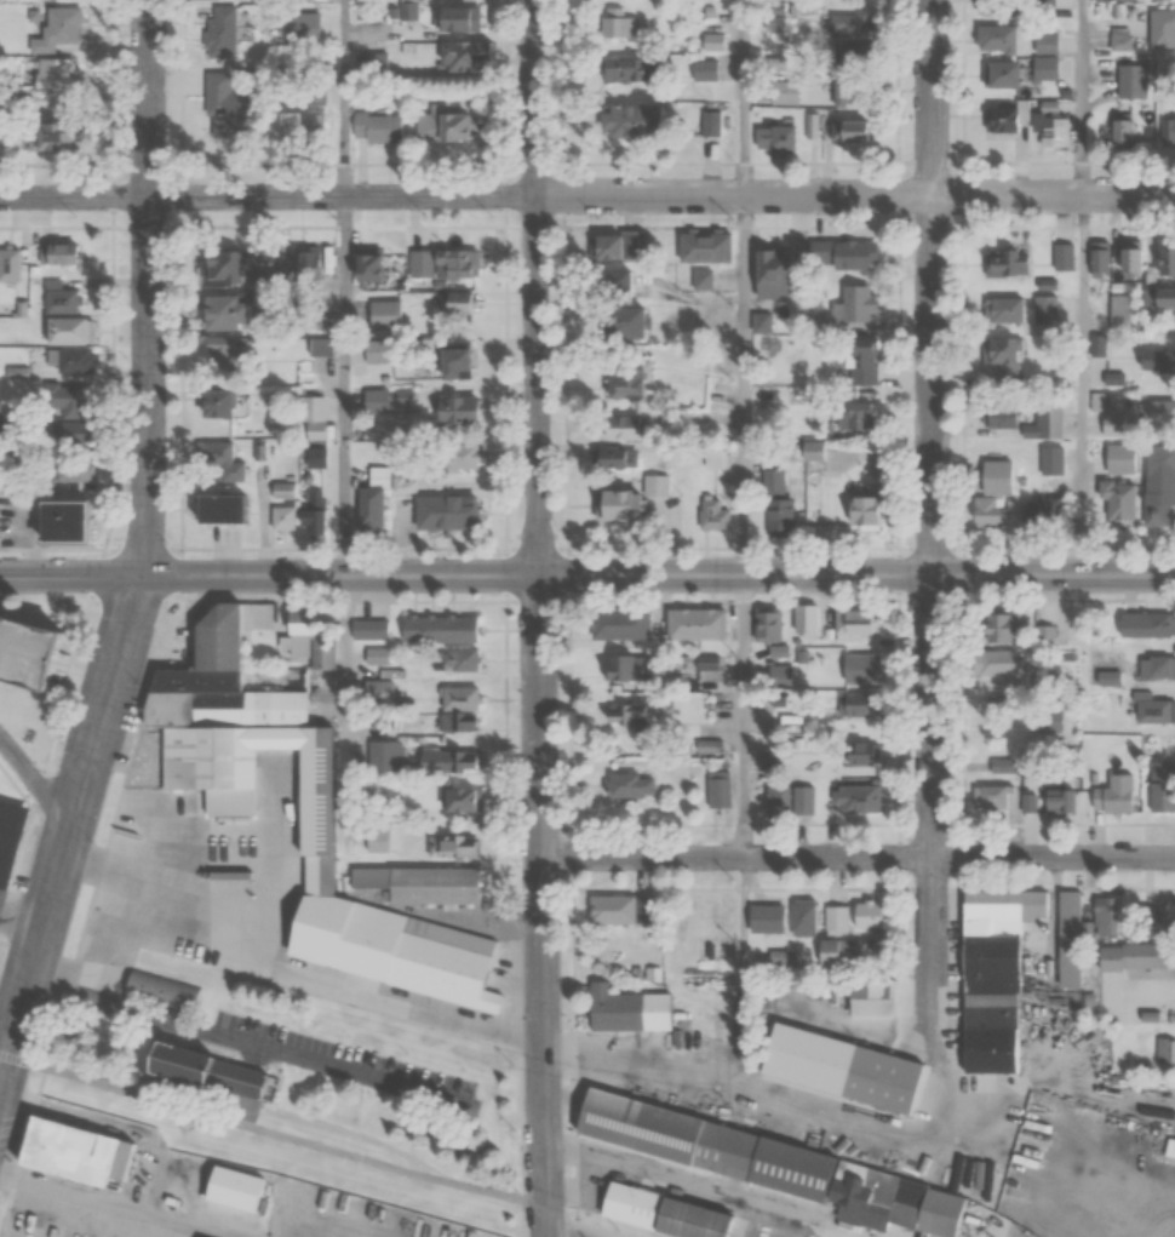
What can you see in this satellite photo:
building: (1163, 0)
building: (1002, 7)
building: (409, 10)
building: (617, 11)
building: (775, 16)
building: (454, 21)
building: (849, 24)
building: (620, 27)
building: (55, 28)
building: (1162, 29)
building: (218, 32)
building: (995, 38)
building: (713, 41)
building: (1045, 42)
building: (458, 59)
building: (372, 62)
building: (1043, 68)
building: (619, 70)
building: (704, 70)
building: (997, 74)
building: (46, 75)
building: (855, 75)
building: (1131, 81)
building: (315, 91)
building: (783, 92)
road: (342, 98)
road: (744, 98)
road: (1083, 98)
building: (224, 102)
building: (1004, 118)
building: (631, 121)
building: (711, 124)
building: (441, 126)
building: (1049, 126)
building: (296, 127)
building: (376, 128)
building: (837, 130)
building: (1168, 130)
building: (1119, 133)
building: (44, 137)
building: (776, 141)
road: (76, 196)
road: (664, 196)
building: (618, 247)
building: (705, 247)
building: (56, 254)
building: (849, 254)
building: (1062, 257)
building: (1100, 257)
building: (1130, 257)
building: (1164, 258)
building: (1008, 263)
building: (8, 264)
building: (455, 265)
building: (367, 268)
building: (229, 271)
building: (772, 274)
building: (703, 280)
building: (623, 284)
building: (1047, 284)
road: (537, 286)
building: (57, 297)
building: (1159, 297)
building: (452, 303)
building: (856, 304)
building: (1044, 309)
building: (1003, 310)
building: (1119, 313)
building: (218, 314)
building: (384, 315)
building: (623, 322)
building: (62, 331)
building: (1099, 344)
building: (999, 351)
building: (218, 355)
building: (73, 361)
building: (1156, 361)
building: (453, 365)
building: (858, 366)
building: (621, 382)
road: (343, 385)
road: (745, 385)
road: (1083, 386)
building: (402, 399)
building: (68, 400)
building: (374, 403)
building: (210, 405)
building: (453, 411)
building: (1157, 412)
building: (999, 414)
building: (855, 416)
building: (310, 418)
building: (1113, 424)
building: (618, 428)
building: (64, 434)
building: (213, 453)
building: (458, 458)
building: (612, 458)
building: (713, 460)
building: (1051, 460)
building: (1159, 460)
building: (71, 469)
building: (773, 482)
building: (401, 485)
building: (992, 494)
building: (369, 502)
building: (1116, 502)
building: (612, 505)
building: (1154, 508)
building: (212, 509)
building: (1038, 510)
building: (315, 512)
building: (442, 512)
building: (860, 514)
building: (712, 515)
building: (283, 517)
building: (779, 519)
building: (52, 522)
road: (934, 526)
road: (148, 551)
road: (71, 574)
road: (659, 574)
building: (263, 615)
building: (804, 619)
building: (619, 623)
building: (695, 624)
building: (850, 624)
building: (1144, 624)
building: (766, 625)
building: (998, 625)
building: (369, 628)
building: (437, 628)
building: (296, 634)
building: (1044, 635)
building: (321, 653)
building: (376, 655)
building: (460, 659)
building: (993, 662)
building: (707, 664)
building: (19, 666)
building: (625, 666)
building: (859, 668)
building: (1156, 668)
building: (853, 706)
road: (345, 708)
building: (458, 709)
building: (1151, 709)
building: (626, 716)
road: (746, 716)
building: (766, 718)
building: (1044, 721)
building: (709, 746)
building: (856, 752)
building: (382, 755)
building: (455, 760)
building: (202, 772)
road: (34, 777)
building: (629, 784)
building: (1162, 785)
building: (299, 788)
building: (717, 789)
building: (1113, 794)
building: (991, 796)
building: (460, 800)
building: (854, 800)
building: (1057, 801)
building: (779, 802)
building: (1028, 802)
building: (7, 836)
building: (378, 838)
building: (453, 846)
road: (860, 858)
building: (311, 883)
building: (435, 883)
building: (1004, 903)
road: (545, 905)
building: (620, 910)
building: (1105, 915)
building: (802, 916)
building: (854, 916)
building: (766, 917)
building: (1167, 917)
building: (1067, 939)
building: (844, 950)
building: (386, 955)
building: (1135, 955)
road: (746, 975)
building: (154, 995)
building: (871, 997)
building: (987, 1002)
building: (625, 1009)
road: (248, 1047)
building: (1164, 1050)
parking lot: (340, 1056)
building: (839, 1070)
building: (200, 1082)
road: (779, 1106)
road: (271, 1134)
building: (707, 1146)
building: (61, 1158)
building: (223, 1192)
building: (663, 1212)
road: (554, 1236)

